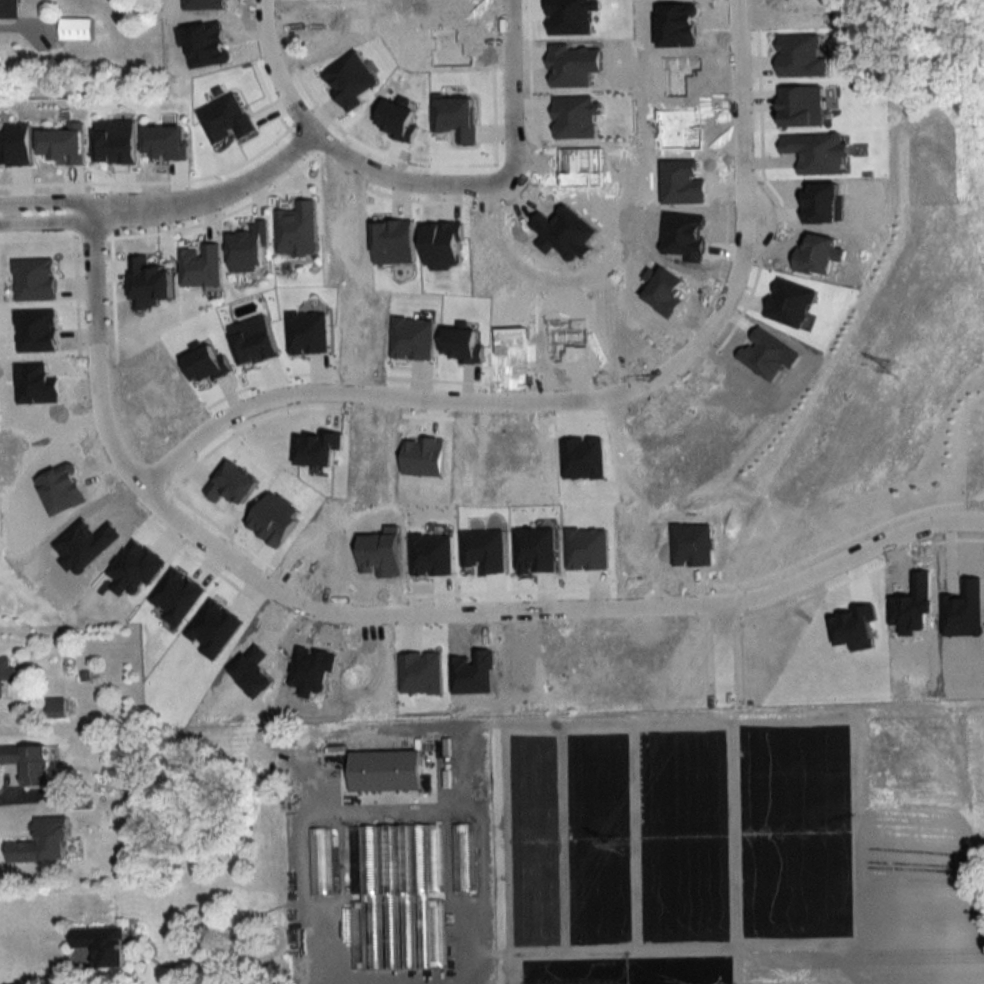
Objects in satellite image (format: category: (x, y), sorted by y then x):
building: (9, 9)
road: (24, 26)
building: (76, 29)
road: (273, 68)
road: (490, 182)
road: (221, 189)
road: (117, 209)
road: (9, 211)
power tower: (904, 368)
road: (589, 395)
road: (400, 613)
building: (6, 672)
building: (56, 708)
building: (29, 762)
building: (386, 771)
power tower: (624, 848)
building: (462, 858)
building: (395, 860)
building: (319, 862)
building: (101, 945)

